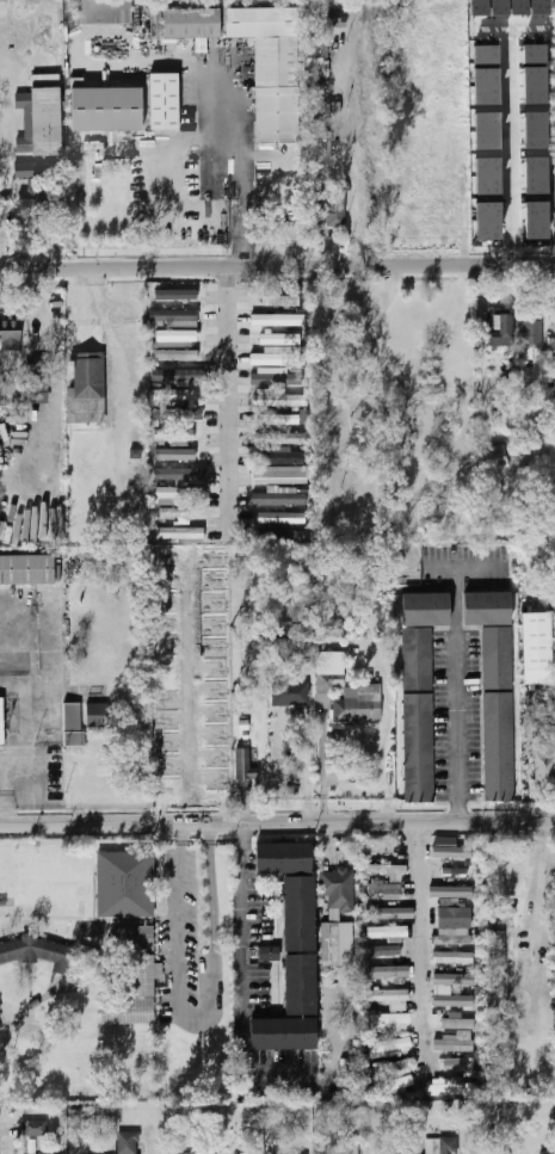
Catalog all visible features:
building: (104, 11)
building: (327, 17)
road: (508, 21)
building: (191, 23)
building: (156, 24)
building: (485, 54)
building: (316, 56)
building: (271, 67)
building: (534, 85)
building: (485, 86)
building: (164, 100)
building: (106, 109)
building: (39, 116)
building: (486, 130)
building: (535, 130)
road: (508, 141)
road: (353, 150)
building: (320, 152)
road: (247, 158)
building: (26, 168)
building: (535, 174)
building: (486, 175)
building: (554, 175)
building: (30, 197)
building: (331, 208)
building: (487, 220)
building: (536, 220)
road: (277, 260)
building: (279, 300)
building: (173, 317)
building: (277, 320)
building: (499, 329)
building: (10, 334)
building: (530, 335)
building: (174, 338)
building: (279, 339)
building: (173, 354)
building: (278, 356)
building: (37, 362)
building: (178, 375)
building: (273, 377)
building: (86, 389)
building: (184, 394)
building: (278, 397)
road: (230, 400)
building: (187, 413)
building: (303, 415)
building: (277, 418)
building: (280, 437)
building: (174, 453)
building: (282, 455)
building: (491, 457)
building: (180, 474)
building: (280, 475)
building: (172, 493)
building: (279, 498)
building: (174, 512)
building: (280, 517)
building: (179, 532)
building: (282, 533)
building: (26, 570)
building: (486, 607)
building: (333, 627)
building: (536, 647)
building: (328, 677)
building: (419, 690)
building: (292, 697)
building: (351, 699)
road: (460, 706)
building: (98, 715)
building: (162, 717)
building: (1, 723)
building: (73, 724)
building: (499, 746)
building: (245, 765)
building: (544, 766)
building: (174, 769)
road: (6, 786)
road: (277, 823)
building: (452, 853)
building: (283, 858)
building: (387, 870)
building: (452, 874)
building: (124, 884)
building: (339, 889)
building: (384, 890)
building: (452, 893)
building: (450, 902)
building: (389, 914)
building: (455, 918)
building: (388, 932)
building: (454, 940)
road: (420, 944)
building: (332, 945)
building: (300, 946)
building: (494, 949)
building: (39, 951)
building: (386, 951)
building: (269, 954)
building: (454, 957)
building: (389, 971)
building: (130, 977)
building: (454, 979)
road: (240, 980)
building: (389, 995)
building: (454, 1000)
building: (388, 1023)
building: (458, 1023)
road: (202, 1026)
building: (283, 1033)
building: (454, 1044)
building: (390, 1045)
building: (458, 1063)
building: (389, 1069)
building: (393, 1085)
building: (452, 1085)
building: (33, 1127)
building: (128, 1142)
building: (351, 1146)
building: (449, 1146)
building: (548, 1152)
building: (189, 1153)
building: (230, 1153)

